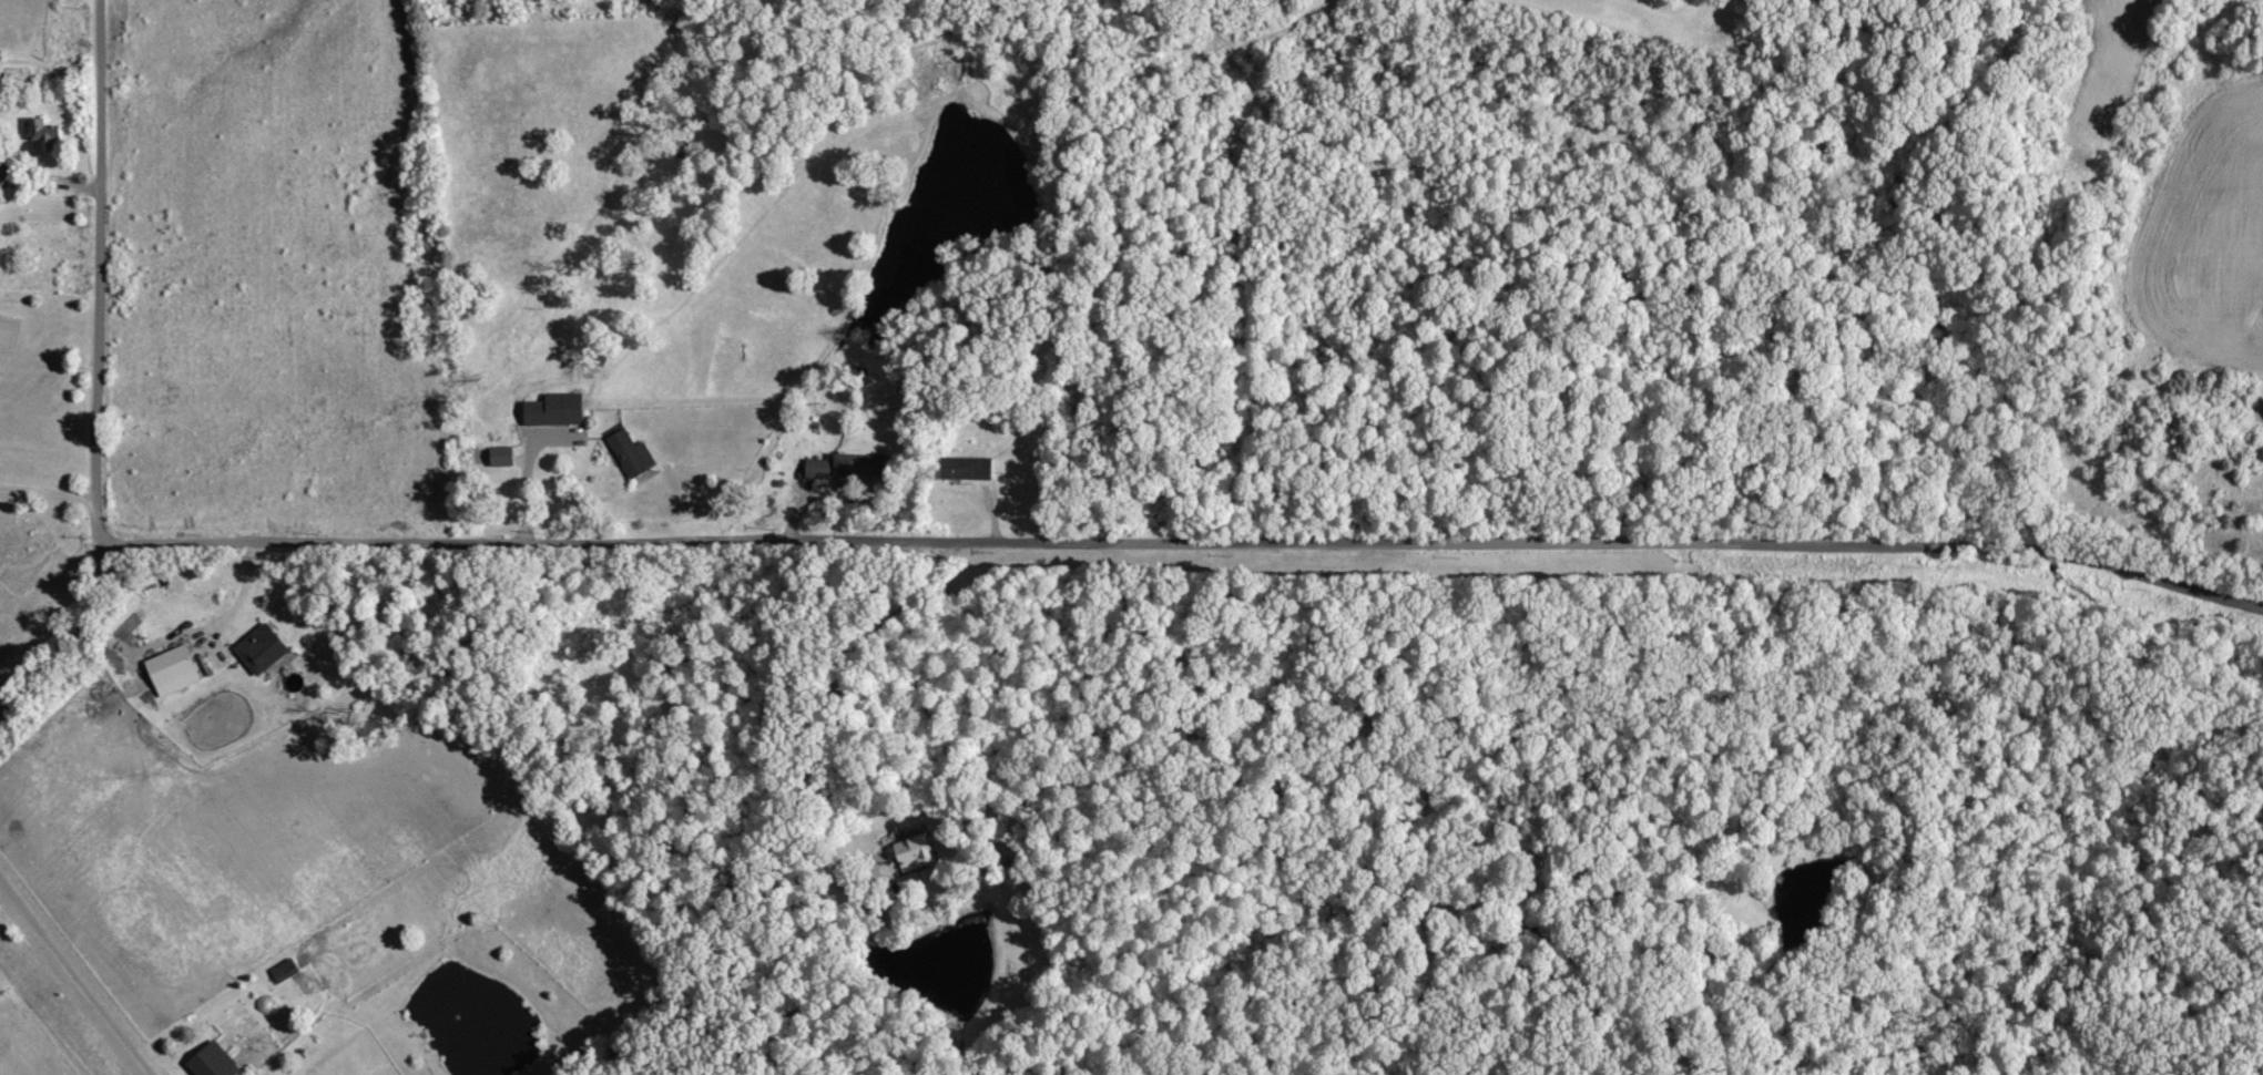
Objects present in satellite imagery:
building: (47, 136)
building: (3, 174)
road: (96, 274)
building: (558, 410)
building: (634, 454)
building: (503, 457)
building: (850, 468)
building: (968, 469)
road: (47, 490)
road: (1185, 540)
road: (237, 604)
road: (58, 632)
building: (263, 649)
building: (174, 672)
building: (286, 970)
road: (73, 977)
building: (215, 1062)

